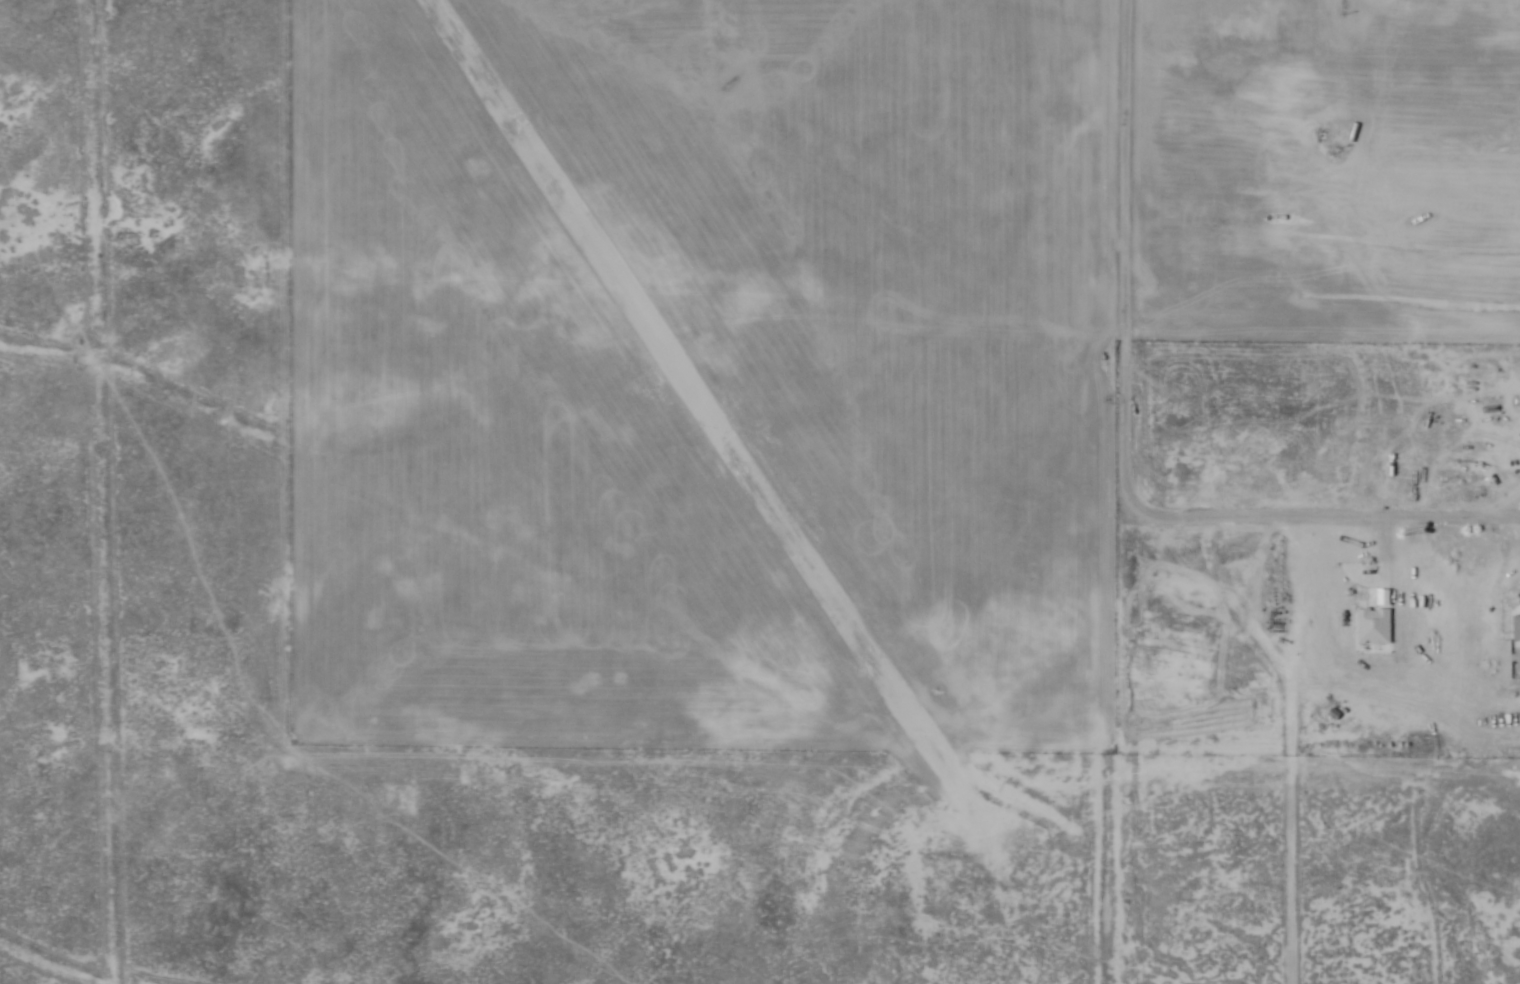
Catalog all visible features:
airport runway: (693, 384)
road: (1235, 615)
building: (1373, 626)
building: (1516, 628)
road: (1282, 834)

